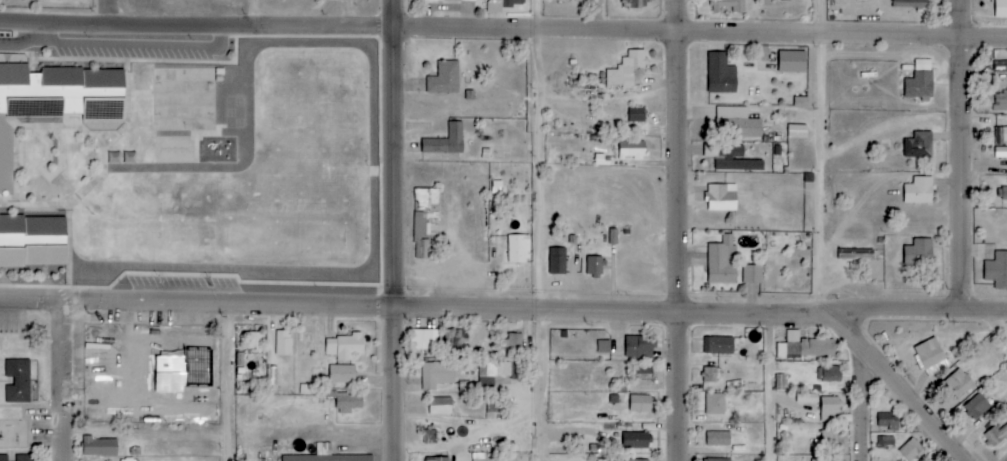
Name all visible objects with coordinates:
building: (59, 0)
building: (434, 0)
building: (468, 0)
building: (513, 3)
building: (908, 3)
building: (633, 4)
building: (727, 6)
building: (1001, 9)
road: (254, 11)
road: (108, 12)
road: (503, 29)
road: (35, 32)
road: (19, 43)
road: (139, 45)
building: (791, 61)
building: (627, 69)
building: (719, 73)
building: (444, 78)
building: (920, 86)
building: (55, 101)
building: (1000, 102)
building: (636, 115)
building: (742, 122)
building: (797, 132)
building: (446, 141)
building: (918, 145)
building: (632, 150)
building: (1000, 152)
road: (828, 158)
road: (967, 158)
building: (737, 161)
building: (918, 190)
building: (1002, 193)
building: (721, 198)
building: (425, 221)
road: (396, 230)
road: (536, 230)
road: (685, 230)
building: (613, 237)
building: (33, 242)
building: (518, 249)
building: (919, 252)
building: (855, 254)
building: (557, 261)
building: (722, 262)
building: (594, 266)
building: (997, 270)
building: (752, 275)
road: (503, 310)
road: (999, 325)
building: (455, 337)
building: (423, 339)
building: (255, 341)
building: (514, 342)
building: (283, 343)
building: (718, 345)
building: (344, 346)
building: (604, 346)
building: (805, 347)
building: (637, 348)
building: (930, 356)
building: (496, 372)
building: (342, 374)
building: (436, 374)
building: (709, 374)
building: (831, 374)
building: (18, 381)
road: (69, 381)
building: (958, 384)
road: (235, 385)
road: (778, 388)
road: (903, 389)
building: (346, 402)
building: (495, 404)
building: (640, 404)
building: (715, 404)
road: (867, 404)
building: (979, 404)
building: (440, 406)
building: (830, 409)
building: (887, 422)
building: (718, 439)
building: (990, 439)
building: (635, 440)
building: (832, 440)
building: (886, 442)
building: (99, 447)
building: (323, 449)
building: (911, 450)
building: (477, 456)
building: (24, 457)
building: (4, 458)
building: (308, 458)
building: (437, 459)
building: (718, 459)
building: (826, 459)
building: (639, 460)

